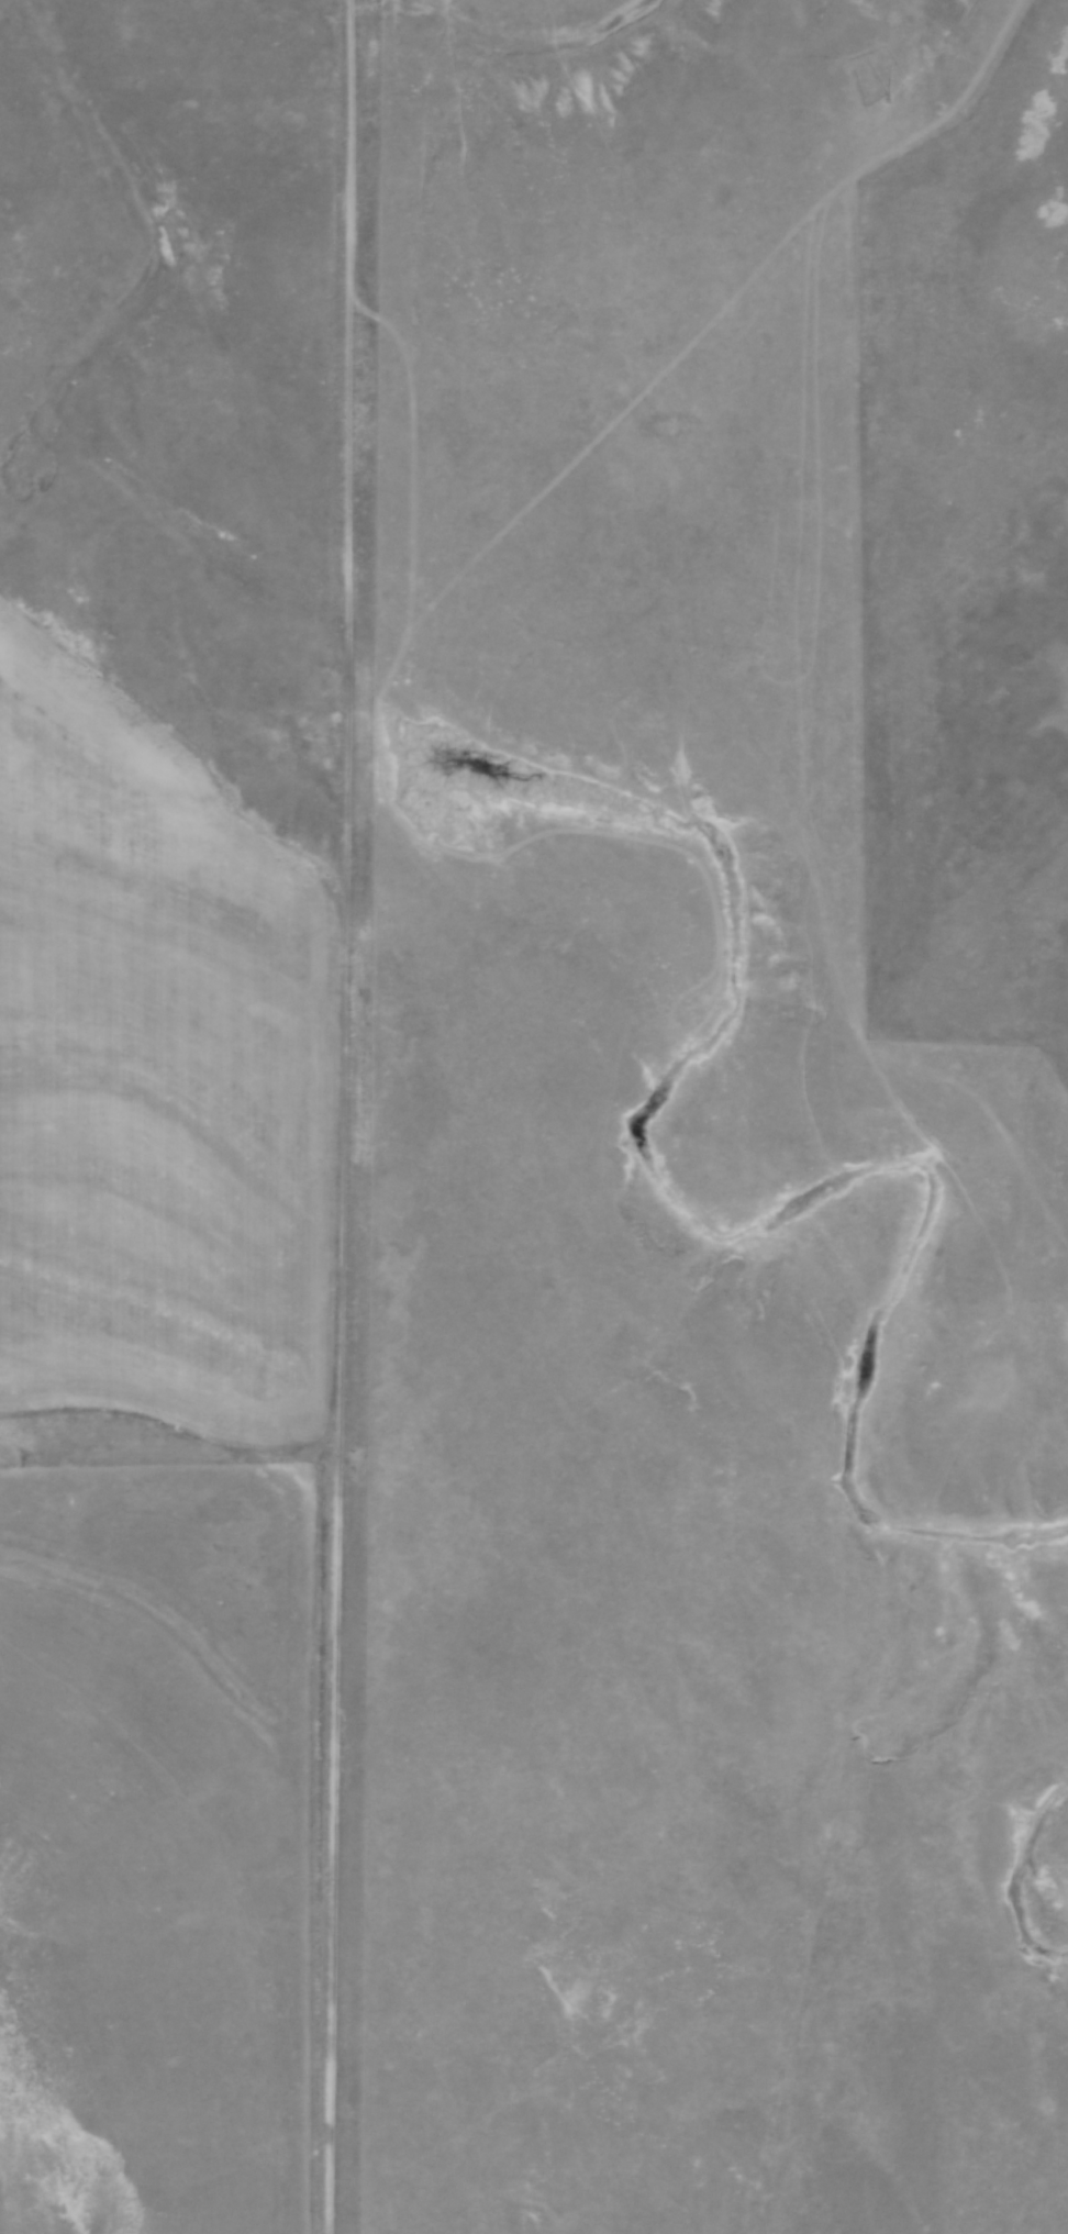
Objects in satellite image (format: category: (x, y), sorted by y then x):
crop: (158, 1077)
road: (346, 1116)

